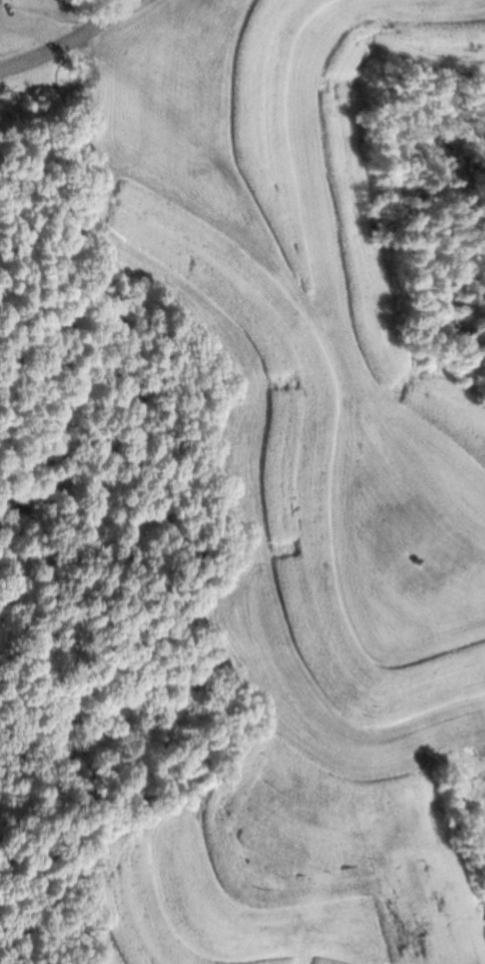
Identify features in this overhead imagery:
road: (70, 42)

